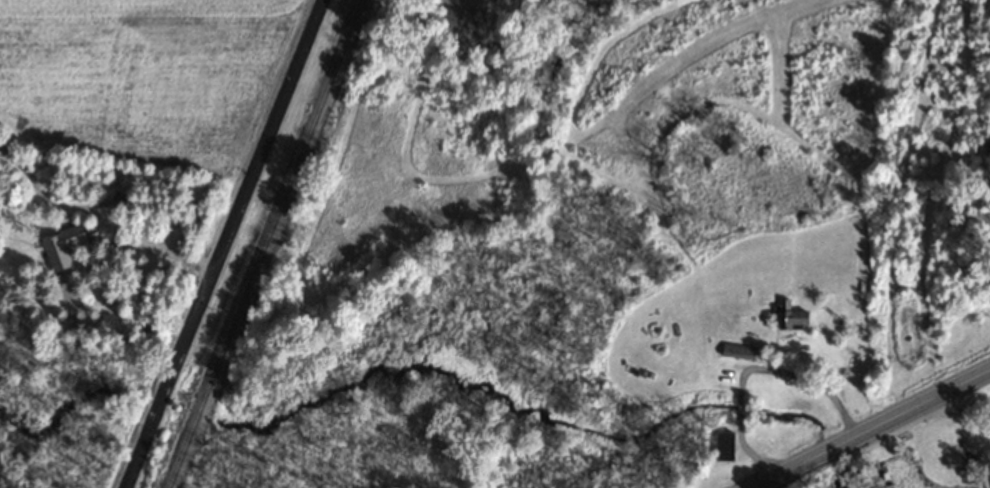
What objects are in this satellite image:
road: (129, 227)
railway: (265, 243)
road: (222, 244)
building: (61, 247)
building: (788, 317)
road: (870, 428)
building: (720, 444)

